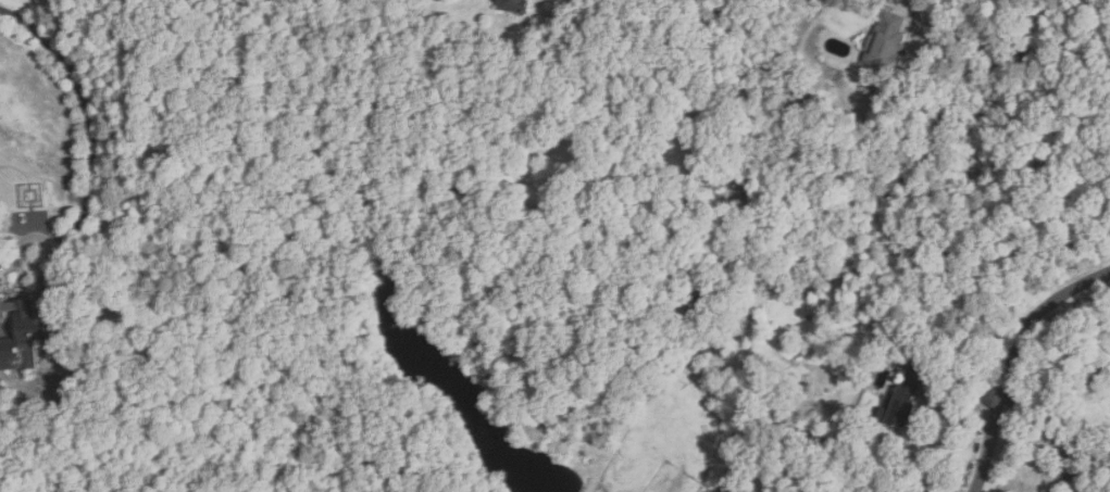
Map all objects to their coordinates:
building: (513, 5)
building: (886, 39)
road: (1026, 51)
road: (88, 114)
road: (30, 230)
building: (35, 332)
road: (1013, 362)
road: (956, 382)
building: (902, 406)
road: (1051, 433)

